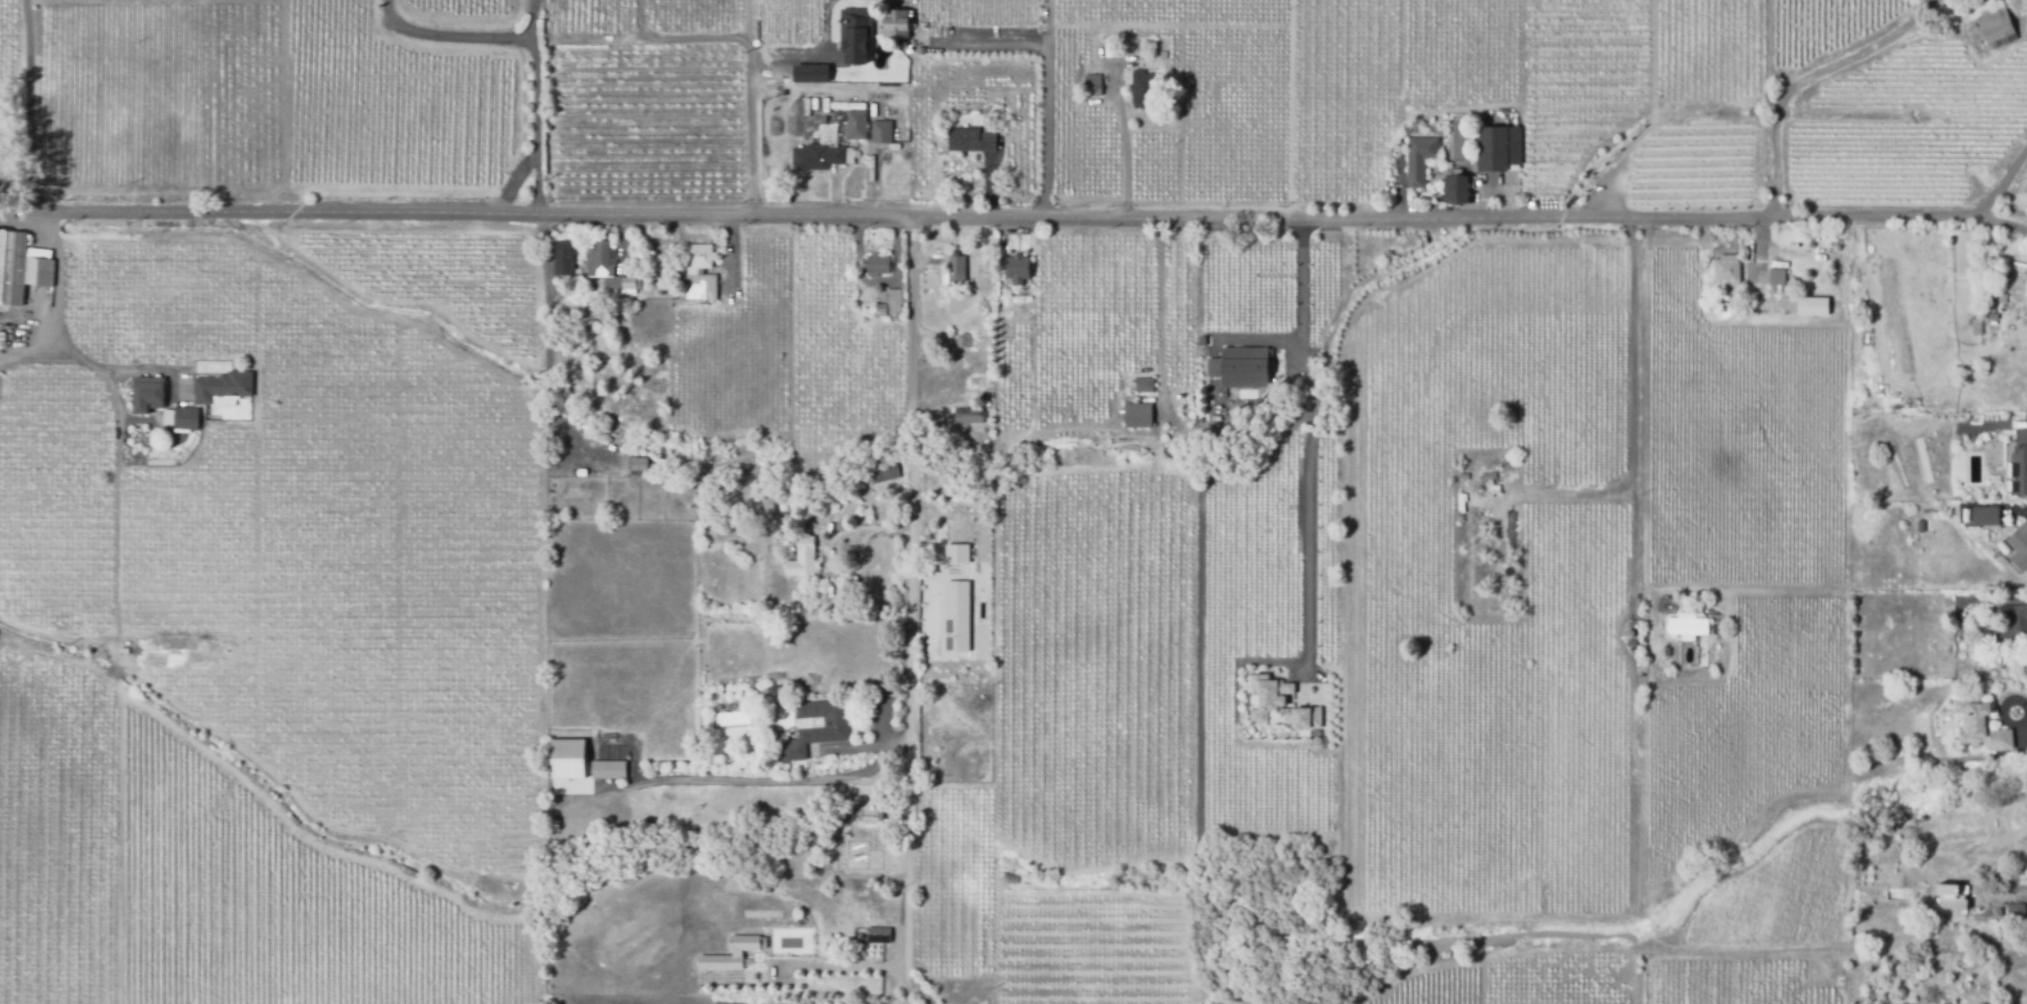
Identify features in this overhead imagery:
building: (895, 25)
building: (1997, 29)
road: (449, 35)
building: (855, 36)
road: (687, 39)
building: (810, 76)
road: (1047, 82)
building: (1092, 85)
building: (1142, 88)
road: (27, 106)
building: (847, 106)
road: (535, 107)
road: (752, 112)
building: (856, 125)
building: (881, 132)
building: (969, 140)
building: (1497, 148)
building: (821, 152)
road: (1124, 158)
building: (1418, 159)
road: (511, 180)
road: (2001, 183)
building: (1455, 185)
road: (1900, 216)
road: (1034, 218)
building: (563, 257)
building: (876, 265)
building: (22, 267)
building: (606, 268)
building: (1014, 270)
building: (1727, 270)
building: (956, 272)
building: (700, 274)
building: (1998, 284)
building: (1790, 296)
building: (2001, 298)
building: (890, 304)
road: (58, 305)
building: (1976, 327)
road: (1265, 333)
building: (2, 337)
building: (964, 341)
road: (546, 348)
building: (1242, 365)
road: (144, 367)
building: (1144, 386)
building: (223, 389)
building: (148, 394)
building: (1136, 414)
road: (1635, 414)
building: (972, 416)
building: (182, 418)
road: (1315, 439)
building: (638, 464)
building: (2016, 464)
building: (882, 469)
building: (1983, 515)
road: (115, 527)
building: (1919, 527)
road: (831, 545)
building: (2019, 546)
building: (956, 553)
building: (801, 558)
road: (915, 610)
building: (956, 615)
building: (1687, 625)
building: (2012, 625)
building: (1992, 663)
building: (773, 688)
building: (1279, 705)
building: (1979, 724)
building: (816, 728)
building: (1317, 740)
building: (567, 759)
building: (608, 769)
building: (2021, 784)
building: (1951, 895)
building: (2015, 912)
building: (878, 934)
building: (735, 952)
road: (846, 968)
building: (971, 1003)

